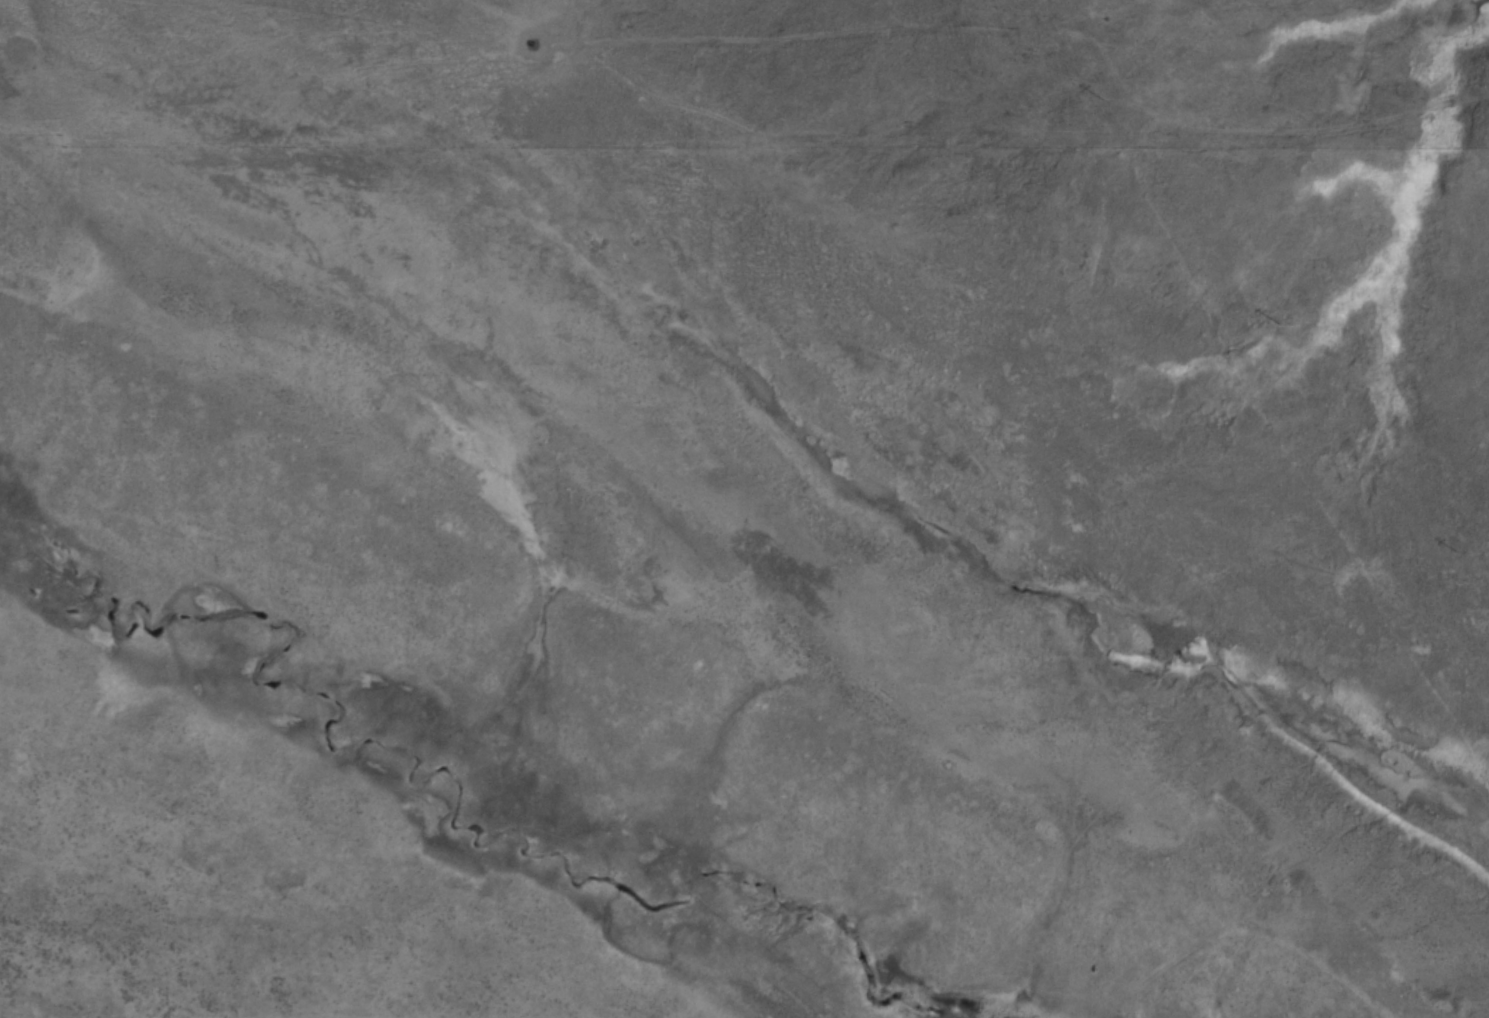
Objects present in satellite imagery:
power tower: (1111, 102)
power tower: (1286, 325)
power tower: (1465, 554)

